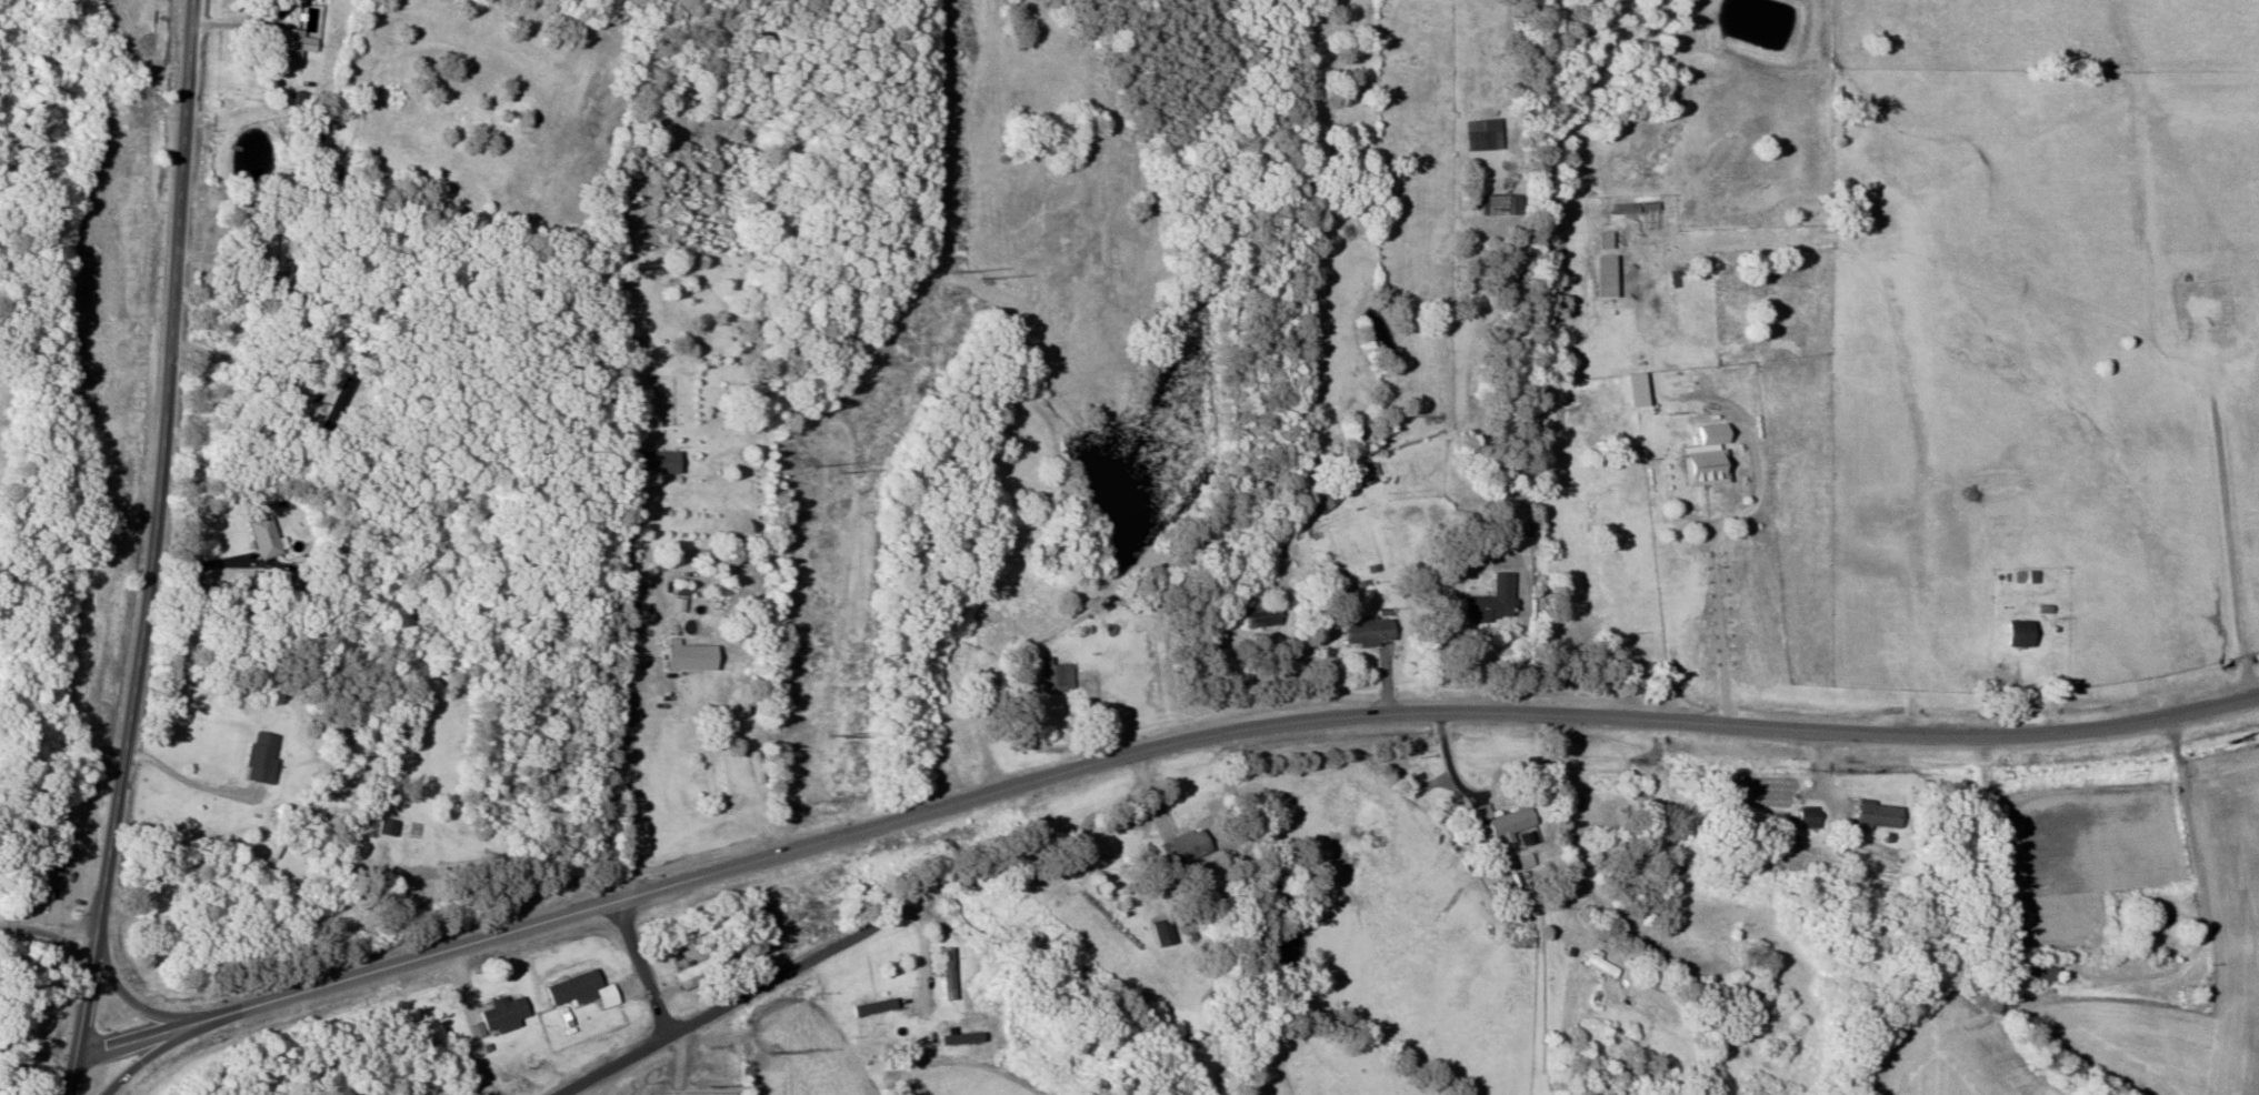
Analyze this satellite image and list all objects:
road: (474, 16)
building: (298, 48)
building: (1476, 137)
building: (1495, 204)
building: (269, 251)
building: (1603, 270)
building: (1632, 382)
building: (348, 396)
building: (1700, 458)
building: (651, 462)
building: (1362, 475)
building: (1325, 501)
building: (1513, 512)
building: (270, 538)
road: (153, 550)
building: (2025, 577)
building: (1483, 603)
building: (1247, 613)
building: (1361, 633)
building: (2016, 634)
building: (696, 656)
road: (1171, 675)
building: (1046, 676)
road: (1148, 750)
building: (266, 757)
building: (1876, 815)
building: (1807, 818)
building: (1503, 826)
building: (404, 842)
building: (1178, 848)
building: (63, 854)
building: (48, 875)
road: (1609, 876)
road: (359, 890)
road: (48, 930)
building: (1159, 933)
building: (1598, 966)
road: (642, 967)
building: (707, 971)
building: (2040, 972)
building: (943, 974)
building: (586, 991)
building: (1740, 993)
road: (126, 994)
building: (2191, 994)
road: (723, 1007)
building: (504, 1017)
building: (871, 1021)
road: (131, 1055)

